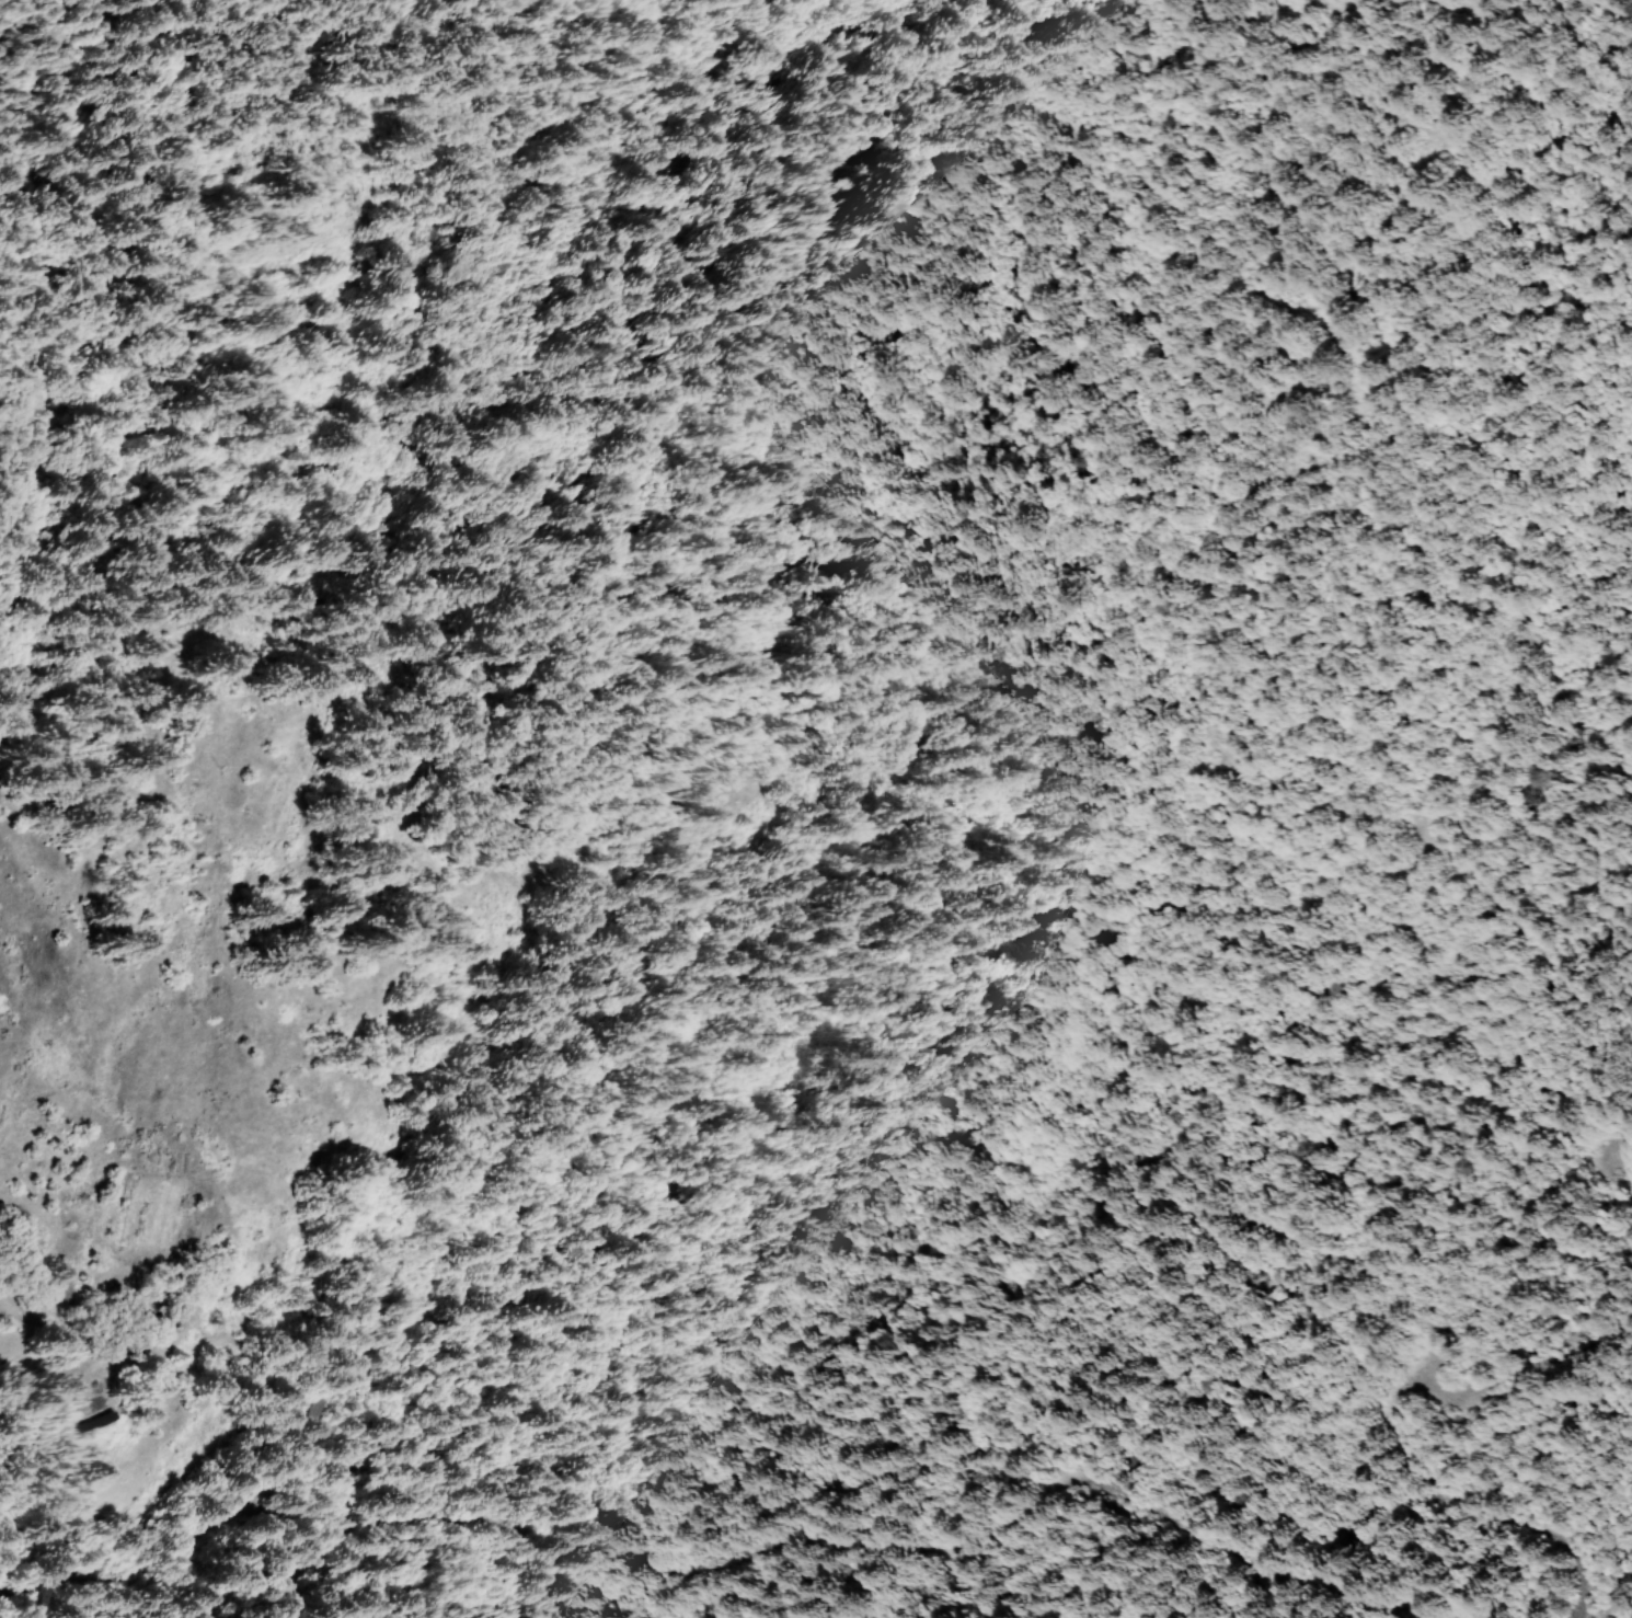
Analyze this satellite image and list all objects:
road: (66, 1458)

